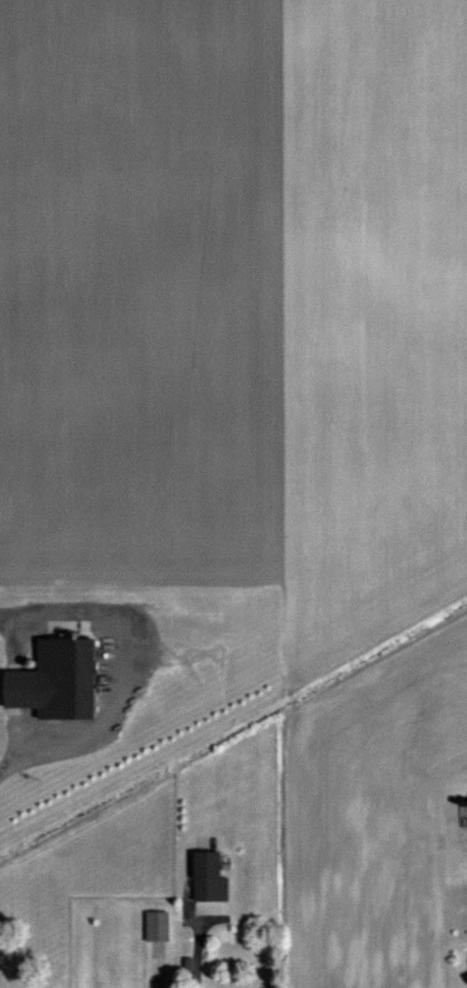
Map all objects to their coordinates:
road: (125, 665)
building: (211, 878)
building: (6, 911)
building: (159, 927)
building: (46, 948)
road: (193, 953)

